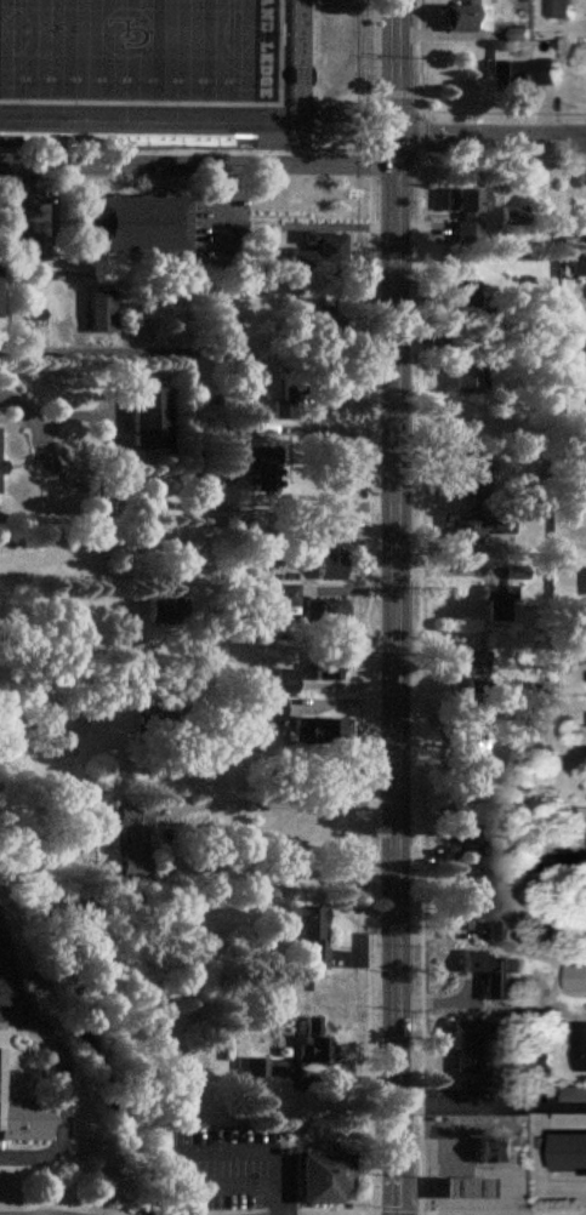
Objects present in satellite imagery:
building: (522, 0)
building: (561, 8)
building: (462, 15)
building: (523, 32)
park: (149, 56)
building: (520, 74)
road: (394, 92)
road: (446, 113)
road: (420, 137)
road: (489, 141)
road: (503, 164)
road: (197, 169)
building: (467, 216)
building: (513, 217)
building: (138, 224)
building: (315, 253)
building: (578, 268)
building: (460, 297)
building: (101, 313)
building: (488, 319)
building: (320, 324)
building: (544, 349)
road: (194, 352)
building: (471, 365)
building: (284, 407)
building: (152, 418)
building: (231, 429)
building: (257, 464)
building: (473, 469)
road: (127, 498)
building: (477, 524)
building: (329, 554)
building: (514, 571)
building: (275, 597)
building: (496, 600)
road: (371, 606)
road: (394, 606)
building: (161, 607)
building: (326, 611)
building: (467, 661)
building: (328, 664)
building: (281, 680)
road: (420, 691)
building: (267, 709)
building: (319, 730)
building: (474, 743)
building: (467, 835)
road: (161, 838)
building: (131, 842)
building: (463, 909)
building: (495, 930)
building: (309, 931)
road: (0, 956)
building: (490, 971)
road: (6, 975)
building: (576, 976)
road: (6, 1000)
building: (309, 1043)
building: (463, 1043)
building: (580, 1049)
building: (279, 1066)
building: (250, 1067)
road: (61, 1094)
road: (490, 1105)
building: (23, 1117)
building: (497, 1150)
building: (573, 1151)
road: (252, 1154)
building: (322, 1177)
road: (223, 1187)
building: (463, 1188)
road: (308, 1213)
road: (308, 1213)

